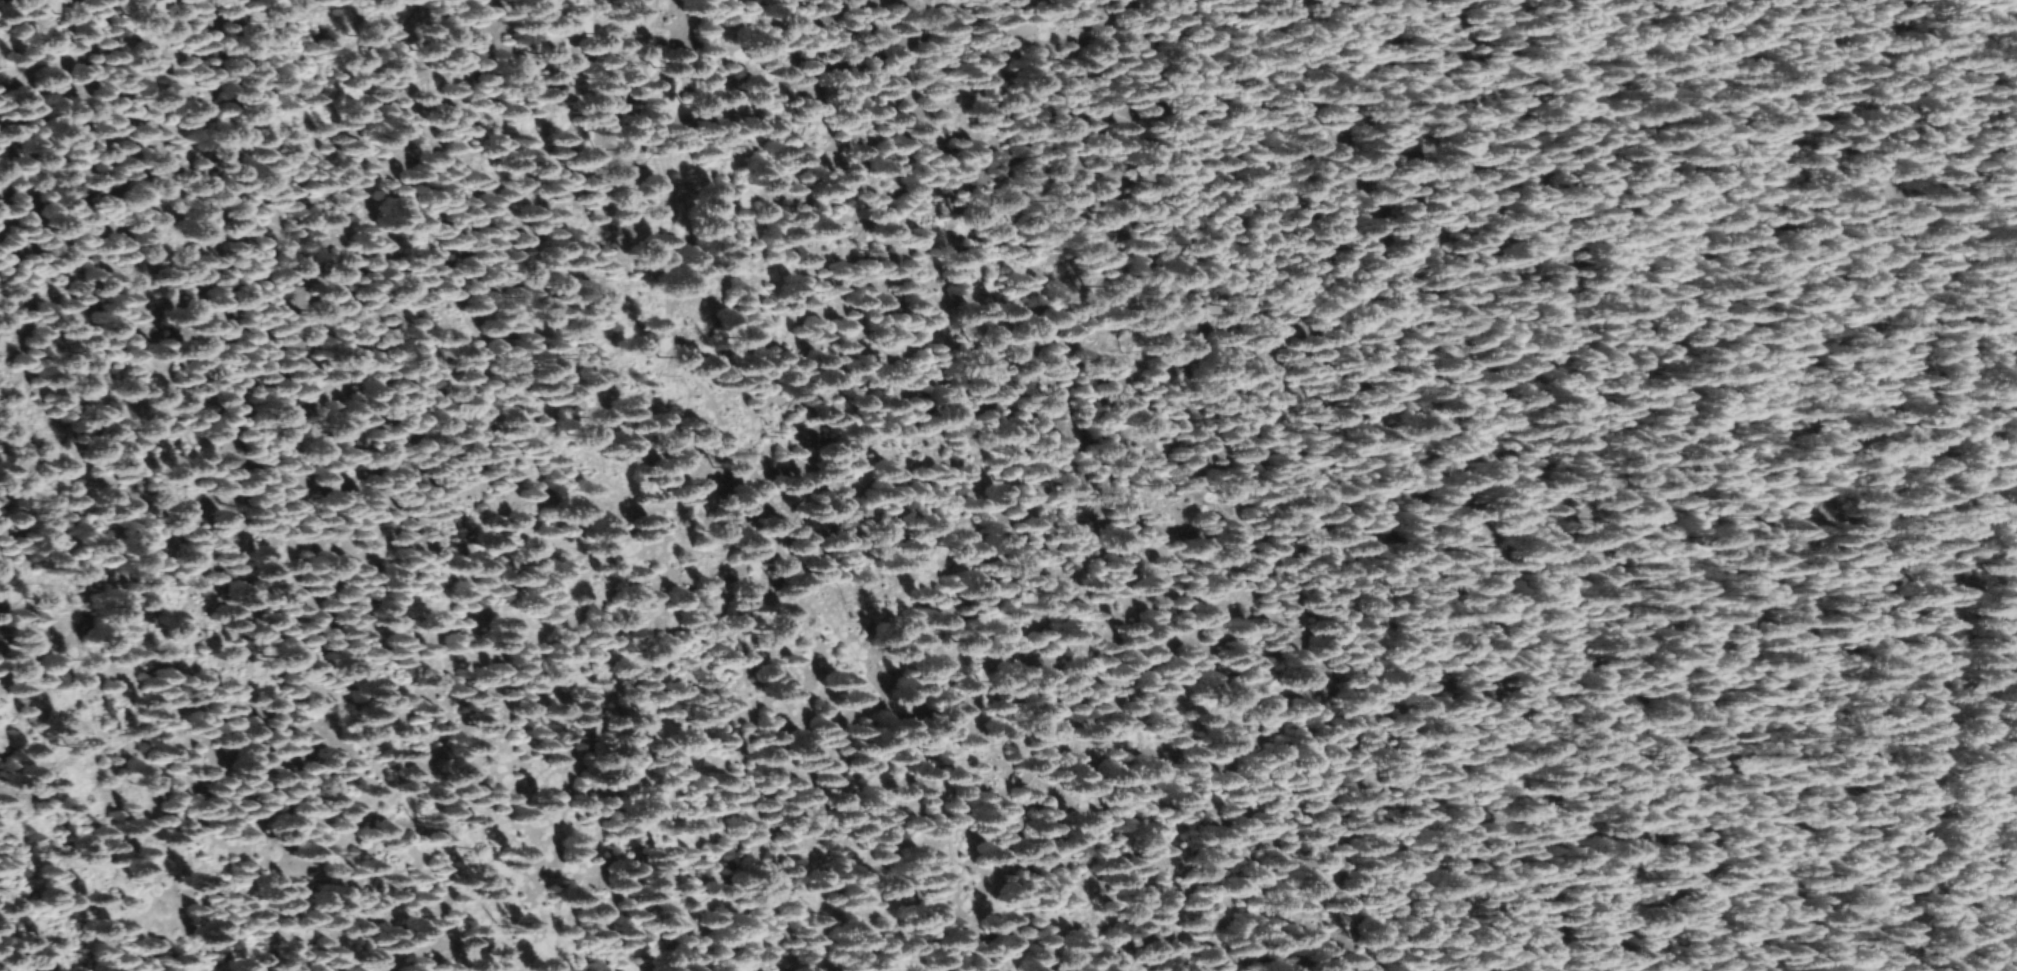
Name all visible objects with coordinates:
road: (1928, 462)
road: (1909, 854)

